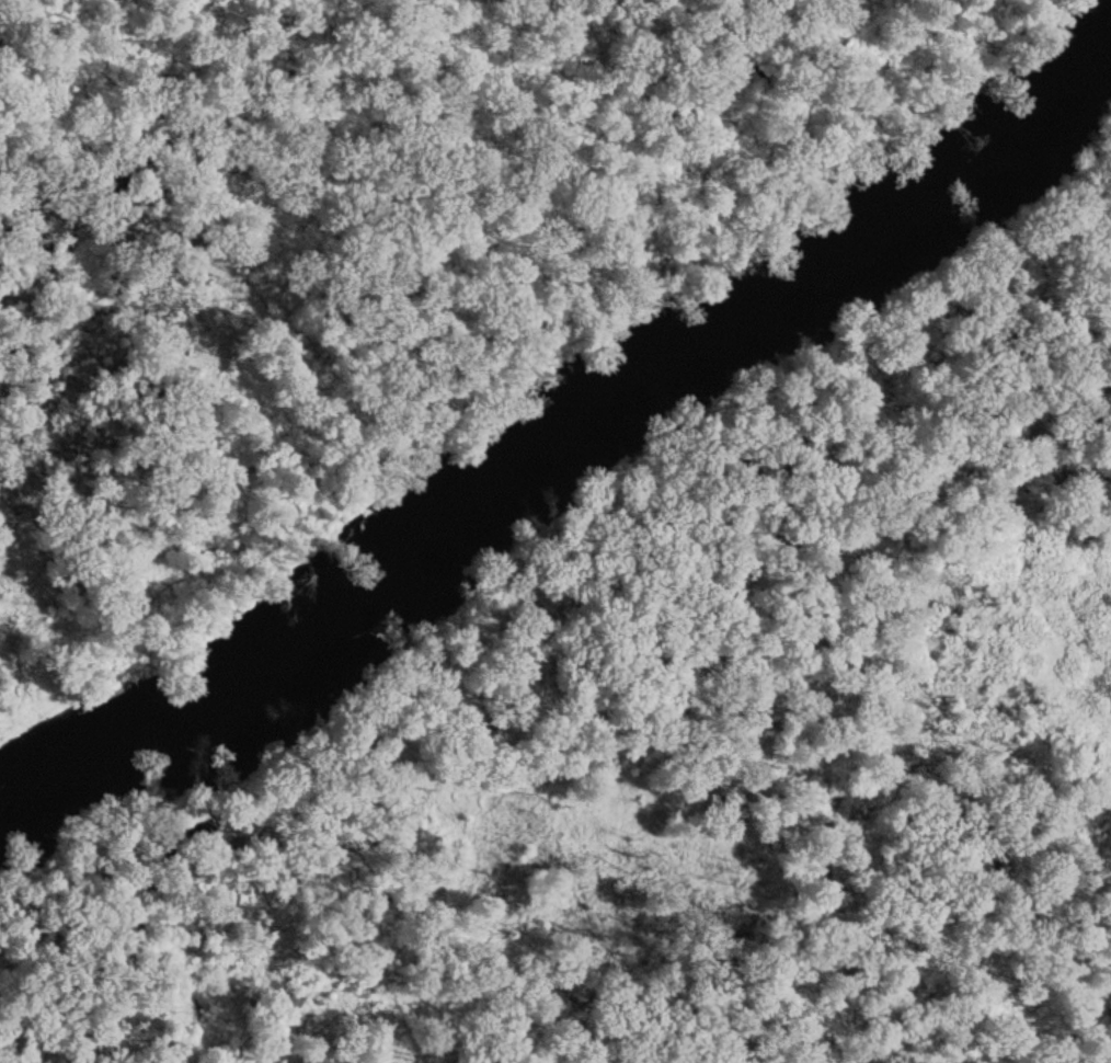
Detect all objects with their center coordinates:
river: (560, 464)

